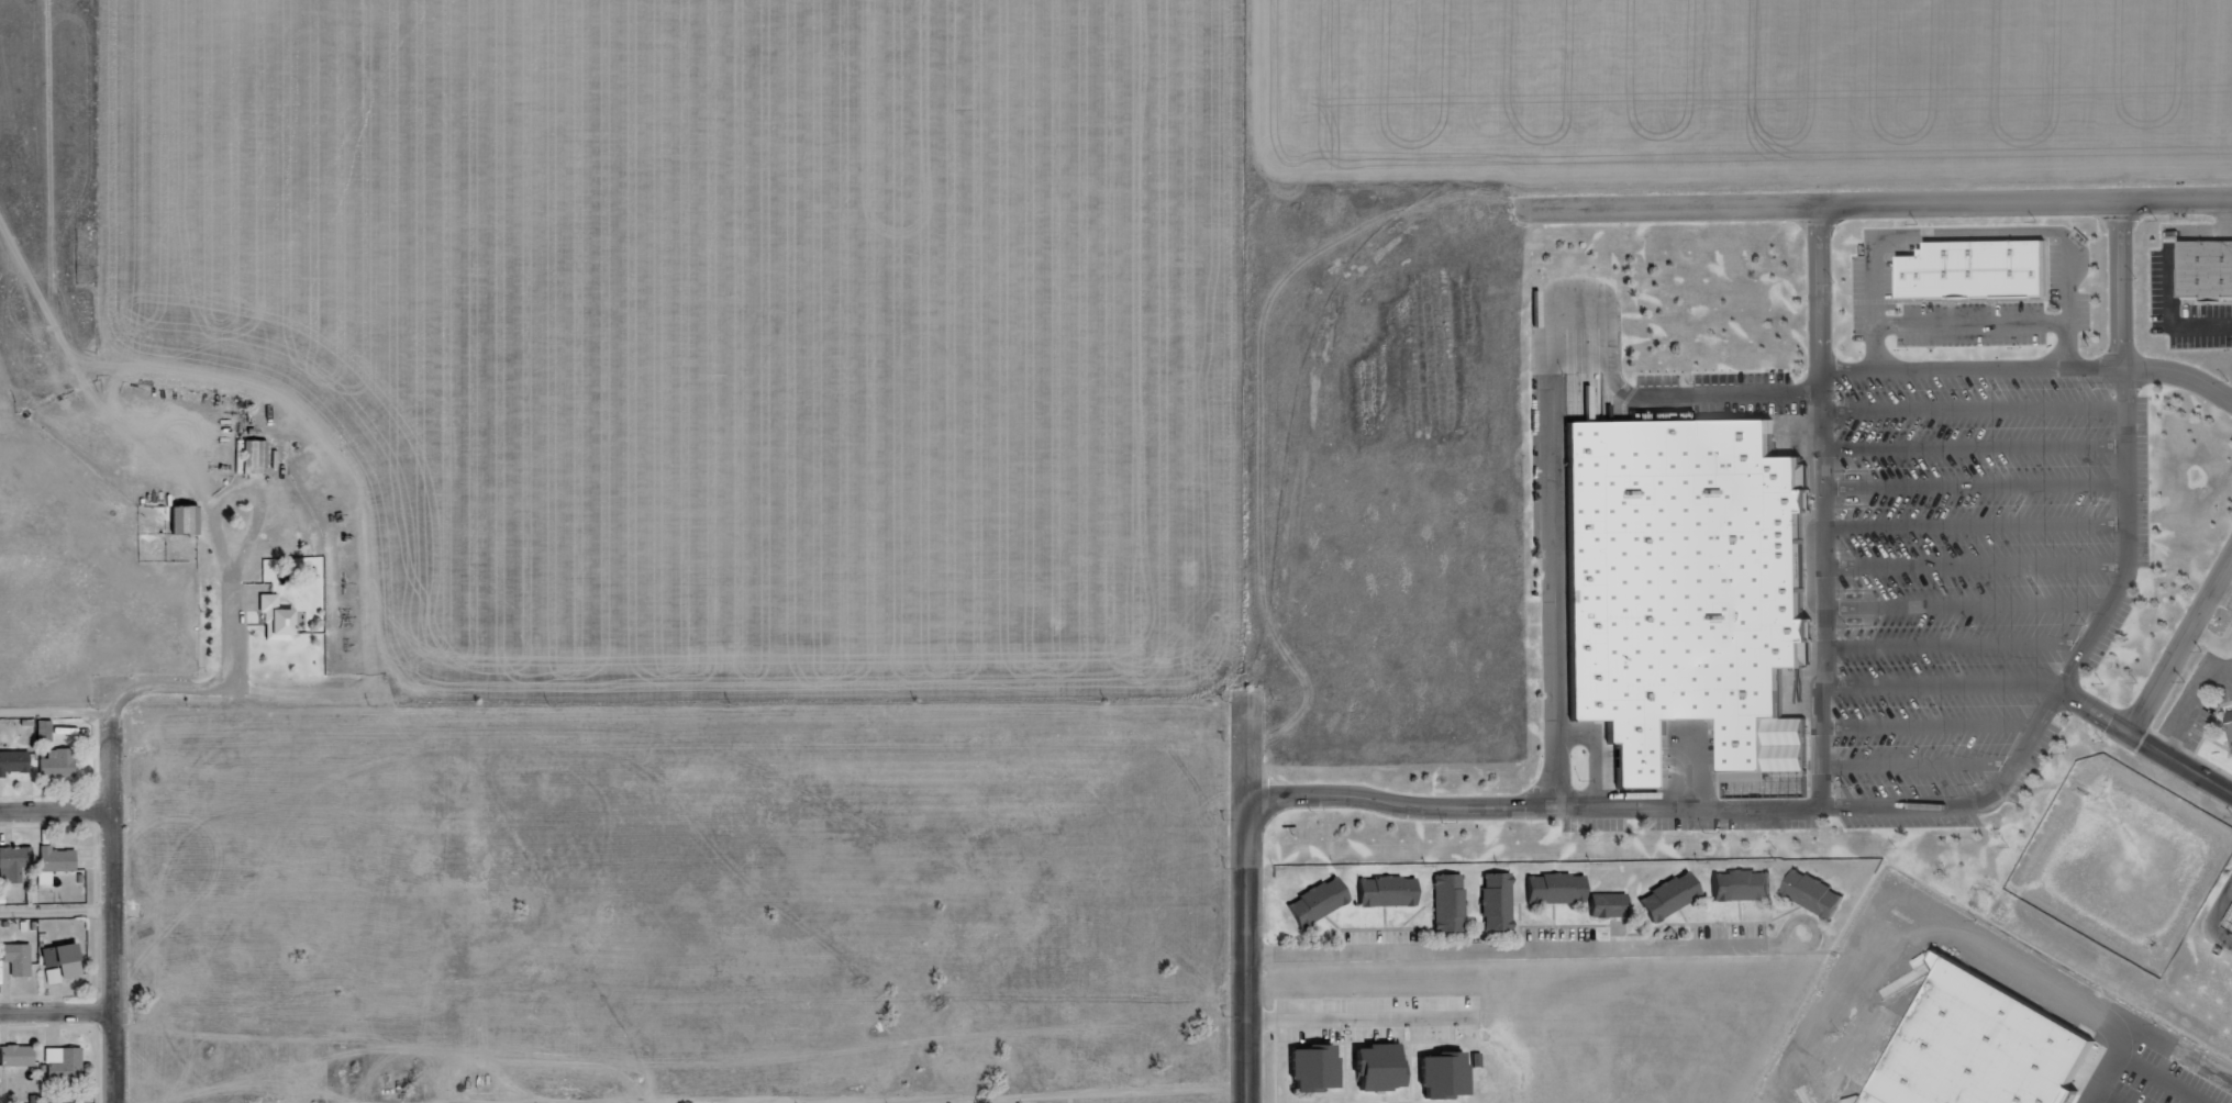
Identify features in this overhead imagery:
road: (1875, 203)
building: (2209, 274)
building: (1980, 275)
road: (2028, 369)
road: (1547, 409)
road: (1977, 411)
road: (1977, 452)
building: (257, 461)
road: (1978, 491)
road: (1821, 505)
building: (189, 525)
road: (1978, 530)
road: (1977, 570)
parking lot: (1981, 583)
building: (1686, 584)
road: (1968, 611)
building: (282, 623)
road: (2181, 640)
road: (1957, 653)
road: (285, 692)
road: (1945, 692)
road: (2101, 712)
road: (60, 715)
building: (2231, 720)
building: (2231, 723)
building: (48, 728)
road: (1932, 732)
road: (2181, 760)
building: (15, 767)
building: (66, 769)
road: (1918, 769)
road: (1941, 809)
road: (59, 810)
building: (62, 865)
road: (119, 865)
building: (18, 868)
building: (1747, 889)
building: (1562, 891)
building: (1392, 894)
building: (35, 895)
building: (1820, 898)
building: (1675, 901)
building: (1322, 905)
building: (1503, 905)
building: (1456, 907)
building: (1614, 907)
road: (59, 916)
building: (2231, 929)
gas station: (2231, 929)
road: (1251, 949)
road: (1576, 955)
building: (22, 957)
building: (67, 960)
road: (60, 1017)
road: (1369, 1022)
building: (1985, 1049)
building: (23, 1055)
building: (68, 1062)
building: (1318, 1071)
building: (1381, 1071)
building: (1446, 1078)
road: (2146, 1082)
road: (1088, 1098)
building: (1877, 1100)

